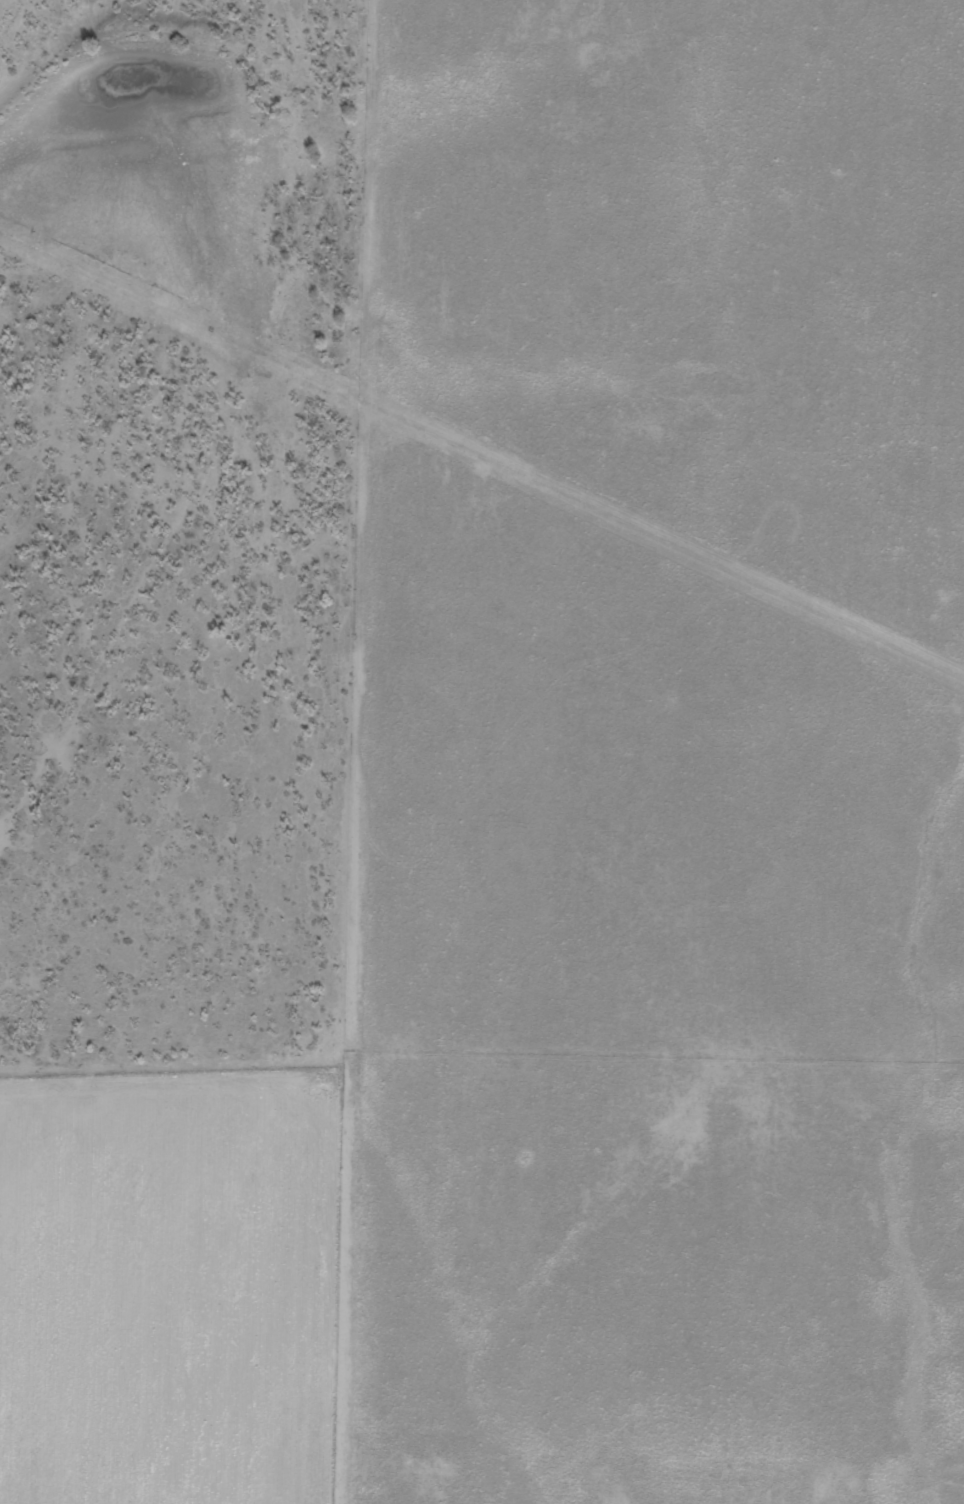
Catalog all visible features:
road: (201, 419)

